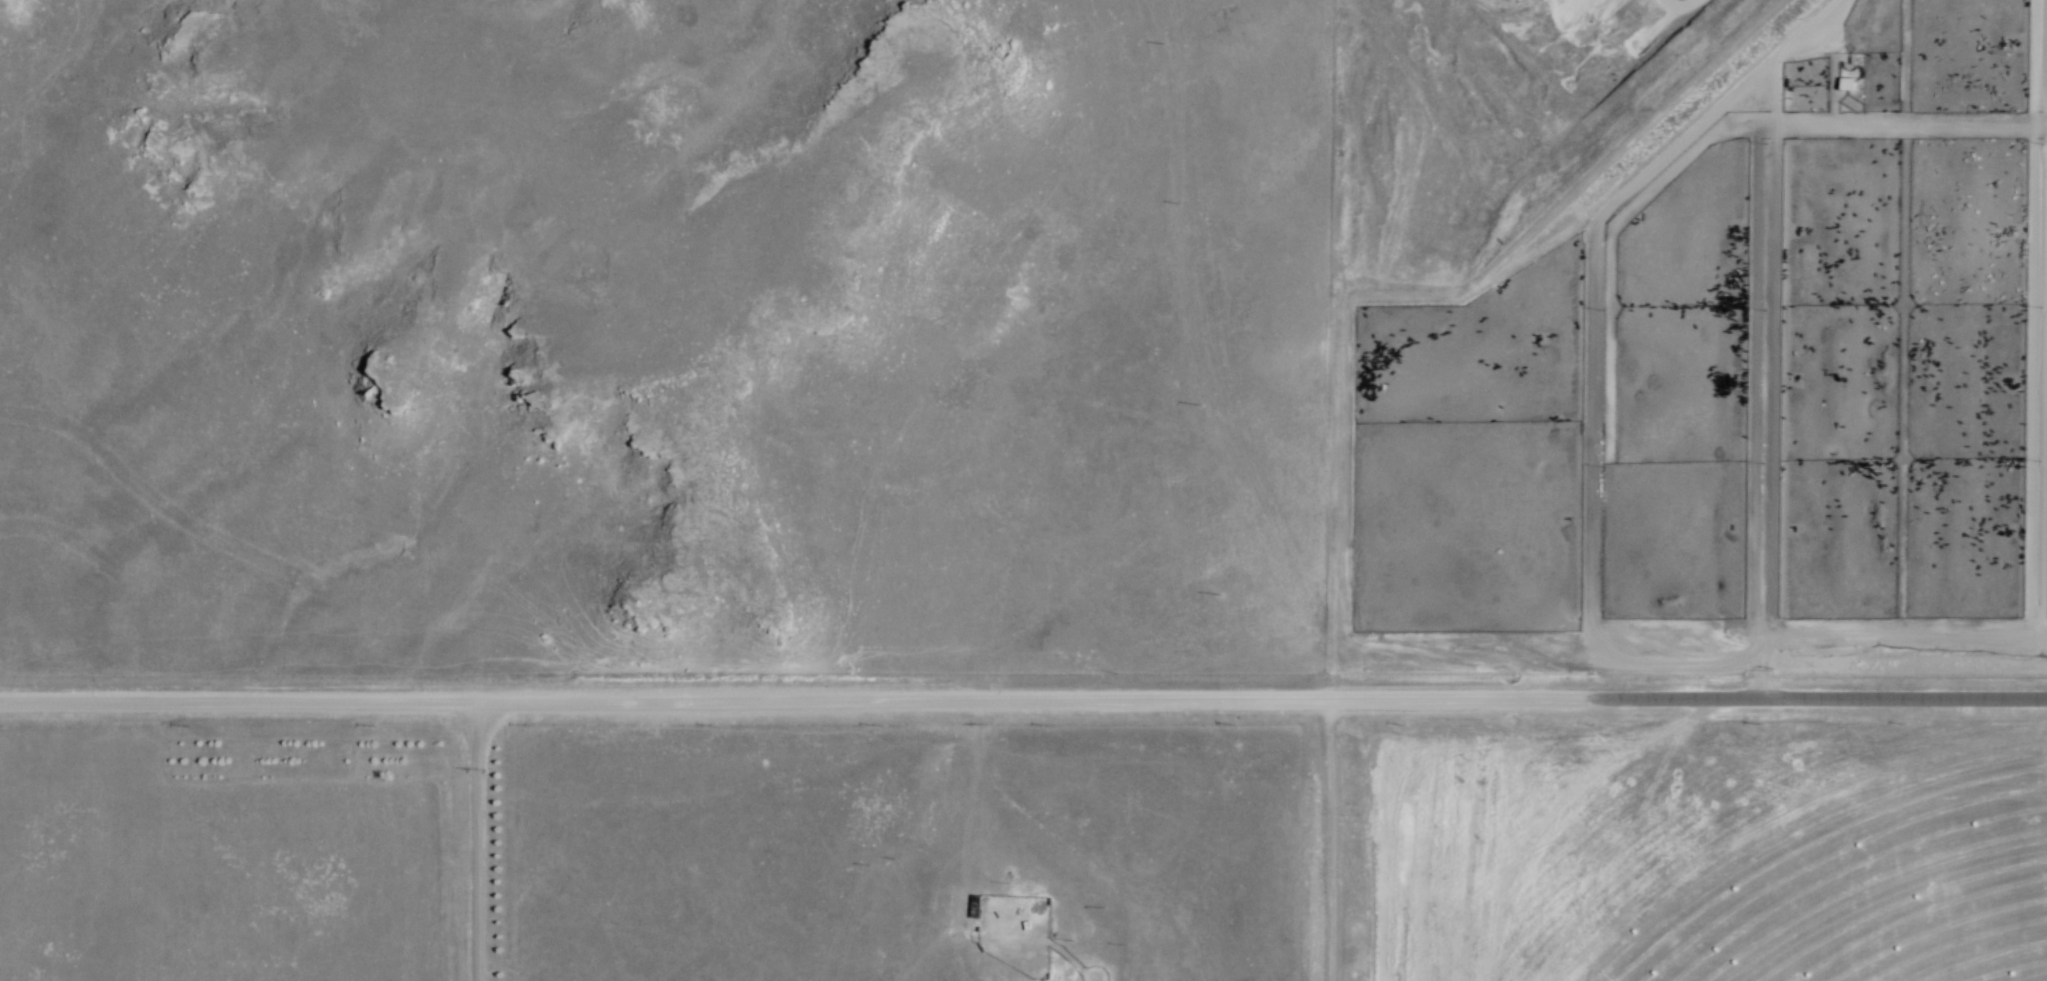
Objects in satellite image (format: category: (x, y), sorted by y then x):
road: (1874, 126)
road: (2034, 317)
road: (1591, 361)
road: (1872, 634)
road: (1818, 701)
road: (795, 702)
road: (472, 843)
crop: (1872, 889)
building: (976, 905)

